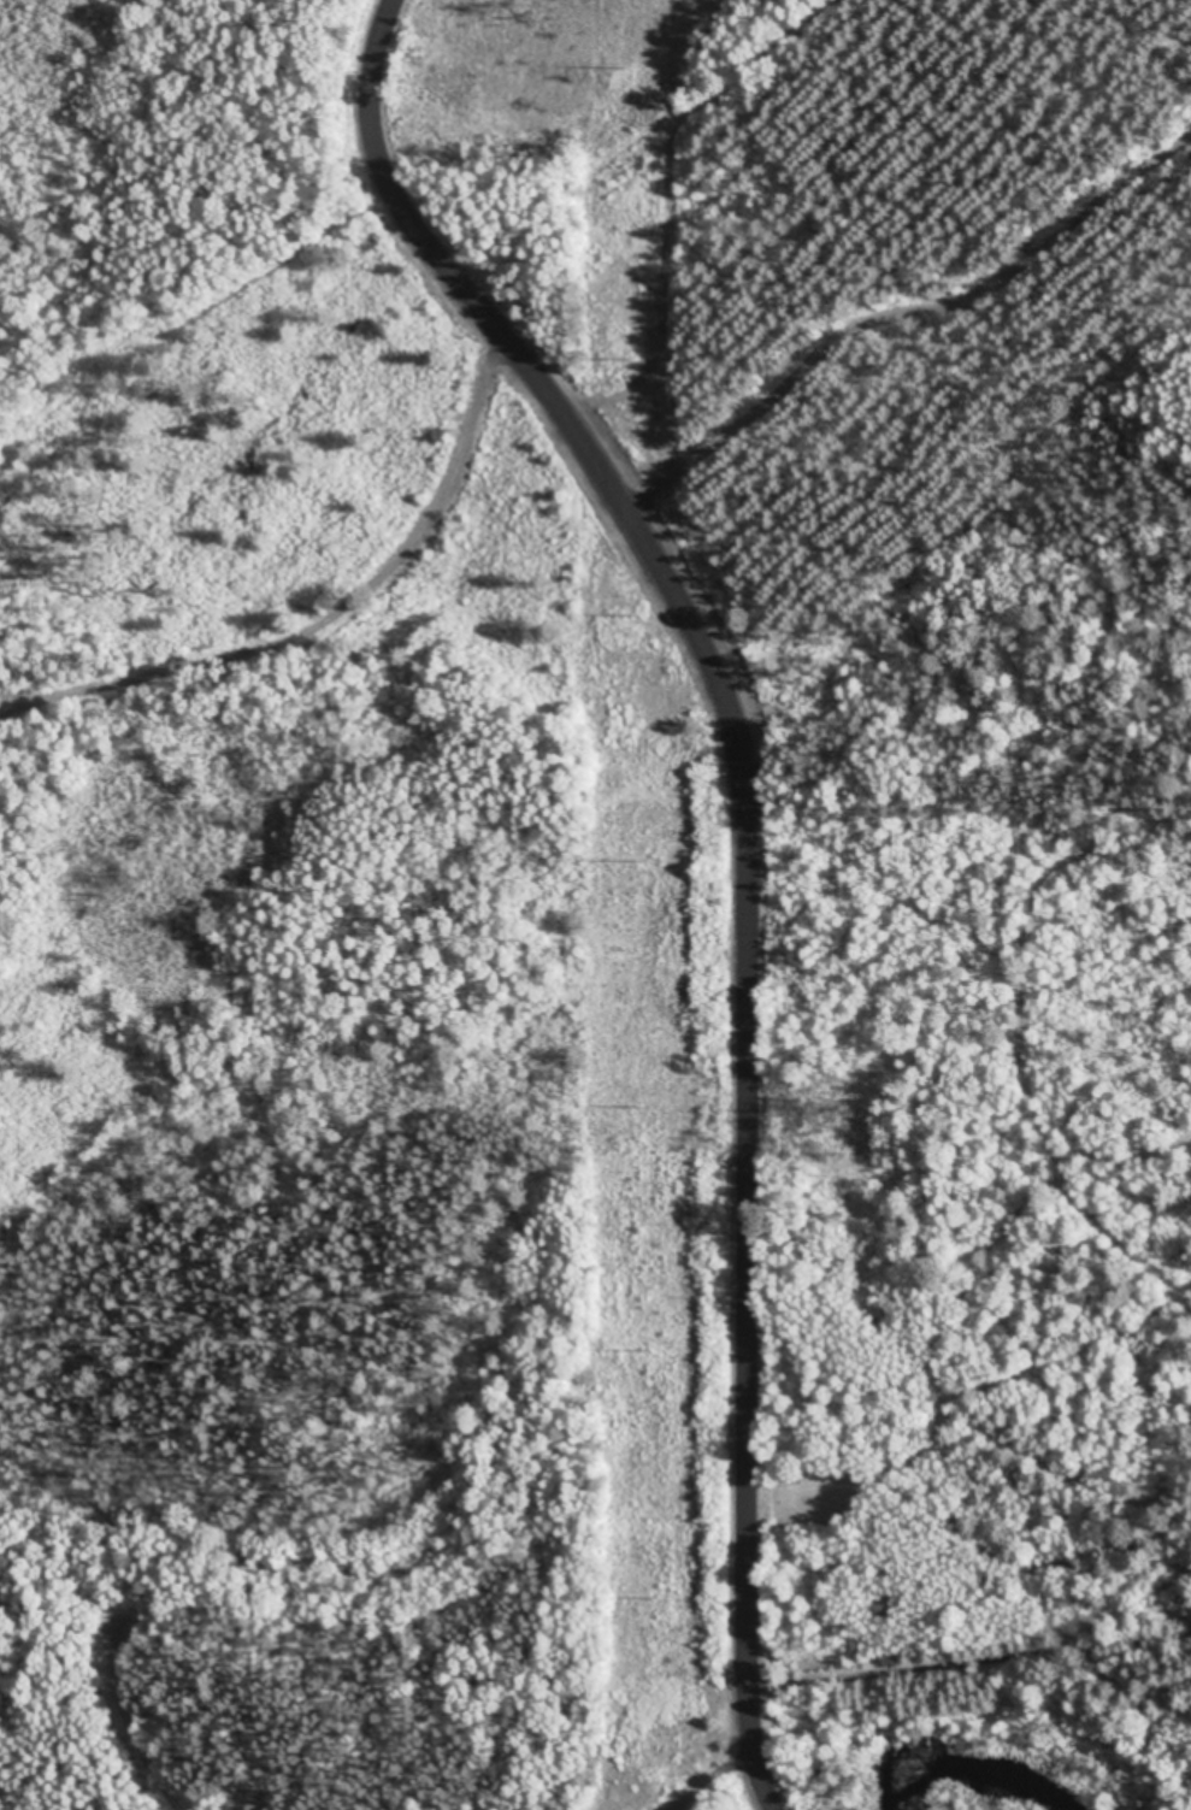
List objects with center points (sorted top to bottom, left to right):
road: (183, 259)
road: (293, 597)
road: (797, 835)
road: (994, 1603)
road: (164, 1711)
road: (673, 1762)

